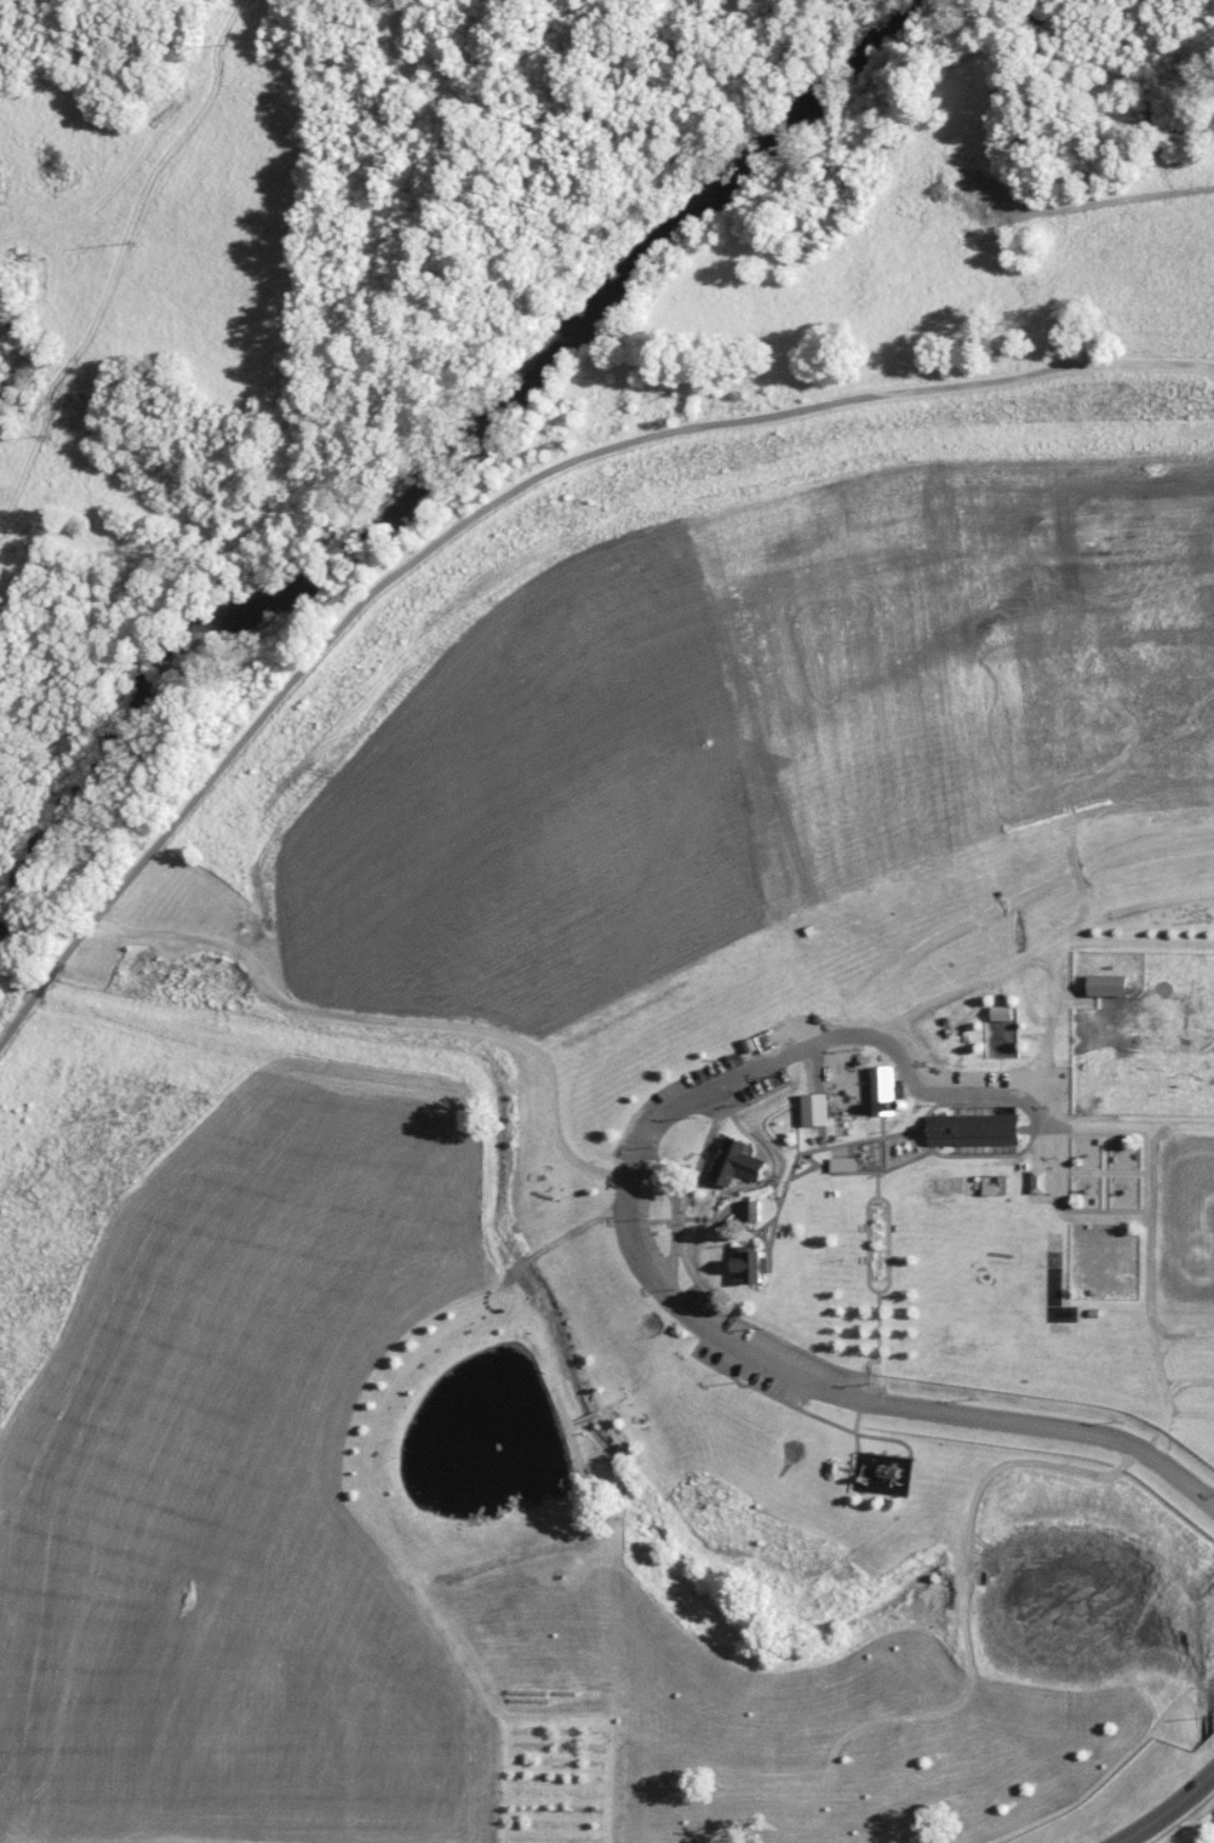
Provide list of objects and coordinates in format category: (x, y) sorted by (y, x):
river: (453, 456)
road: (522, 485)
road: (1133, 908)
building: (1107, 985)
road: (946, 997)
building: (1001, 1011)
road: (18, 1020)
road: (394, 1020)
road: (1048, 1038)
park: (674, 1077)
parking lot: (979, 1078)
building: (884, 1092)
road: (1023, 1108)
road: (781, 1111)
building: (817, 1111)
building: (977, 1130)
road: (900, 1132)
road: (821, 1137)
road: (848, 1141)
road: (881, 1156)
road: (906, 1159)
building: (737, 1164)
building: (844, 1165)
road: (809, 1166)
road: (1105, 1170)
road: (1106, 1171)
road: (843, 1172)
road: (717, 1187)
road: (774, 1193)
parking lot: (631, 1206)
building: (754, 1211)
road: (722, 1212)
road: (1063, 1212)
road: (664, 1219)
road: (761, 1238)
road: (866, 1243)
road: (681, 1255)
road: (768, 1259)
building: (752, 1266)
road: (887, 1276)
road: (659, 1286)
road: (1147, 1293)
road: (1181, 1333)
building: (981, 1345)
road: (1187, 1379)
road: (771, 1394)
road: (858, 1411)
road: (887, 1438)
road: (765, 1557)
road: (967, 1625)
road: (1167, 1810)

